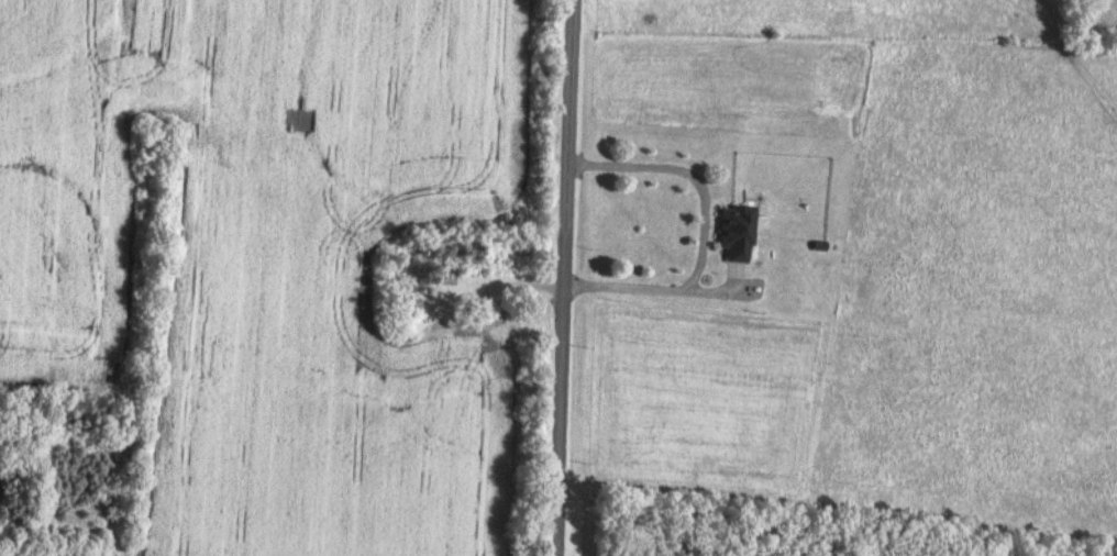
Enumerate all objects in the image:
road: (701, 226)
building: (738, 230)
road: (563, 277)
building: (407, 304)

